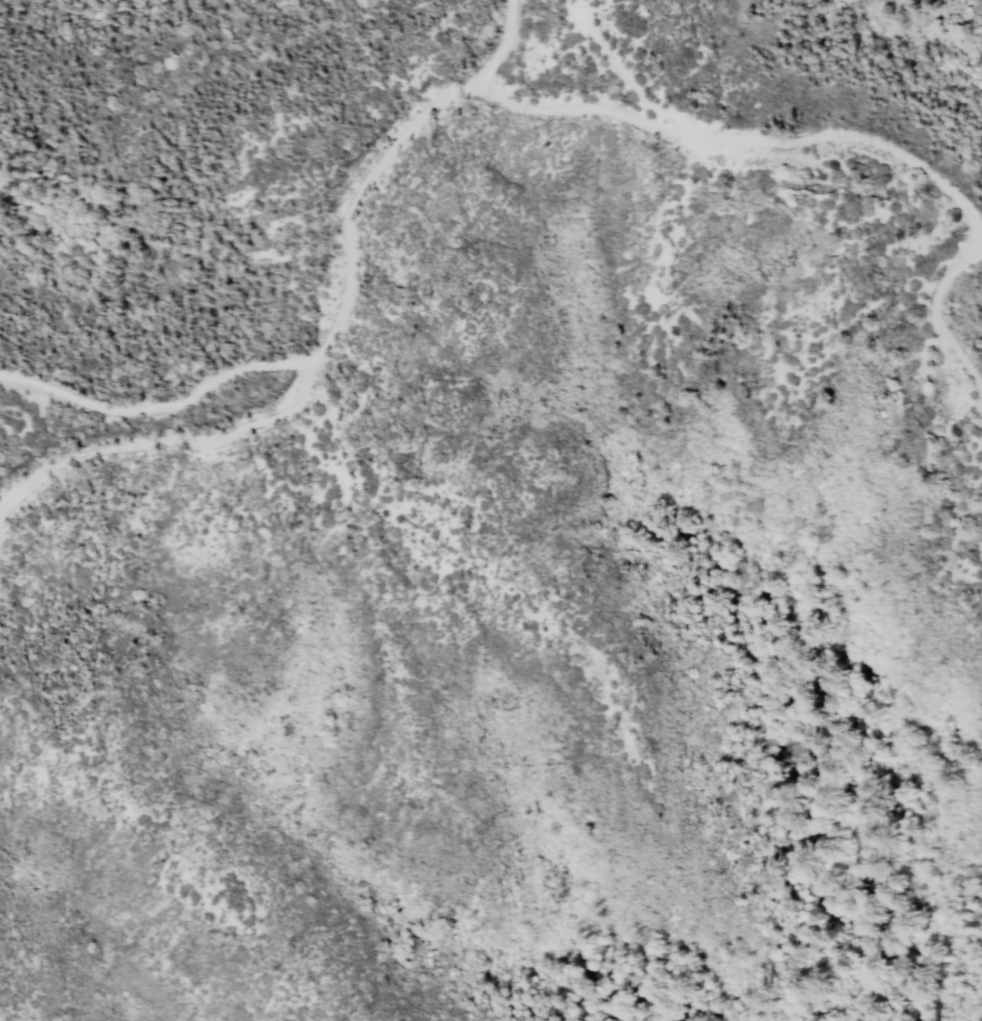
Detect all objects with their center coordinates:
road: (617, 74)
road: (782, 142)
road: (319, 361)
building: (980, 425)
road: (166, 444)

